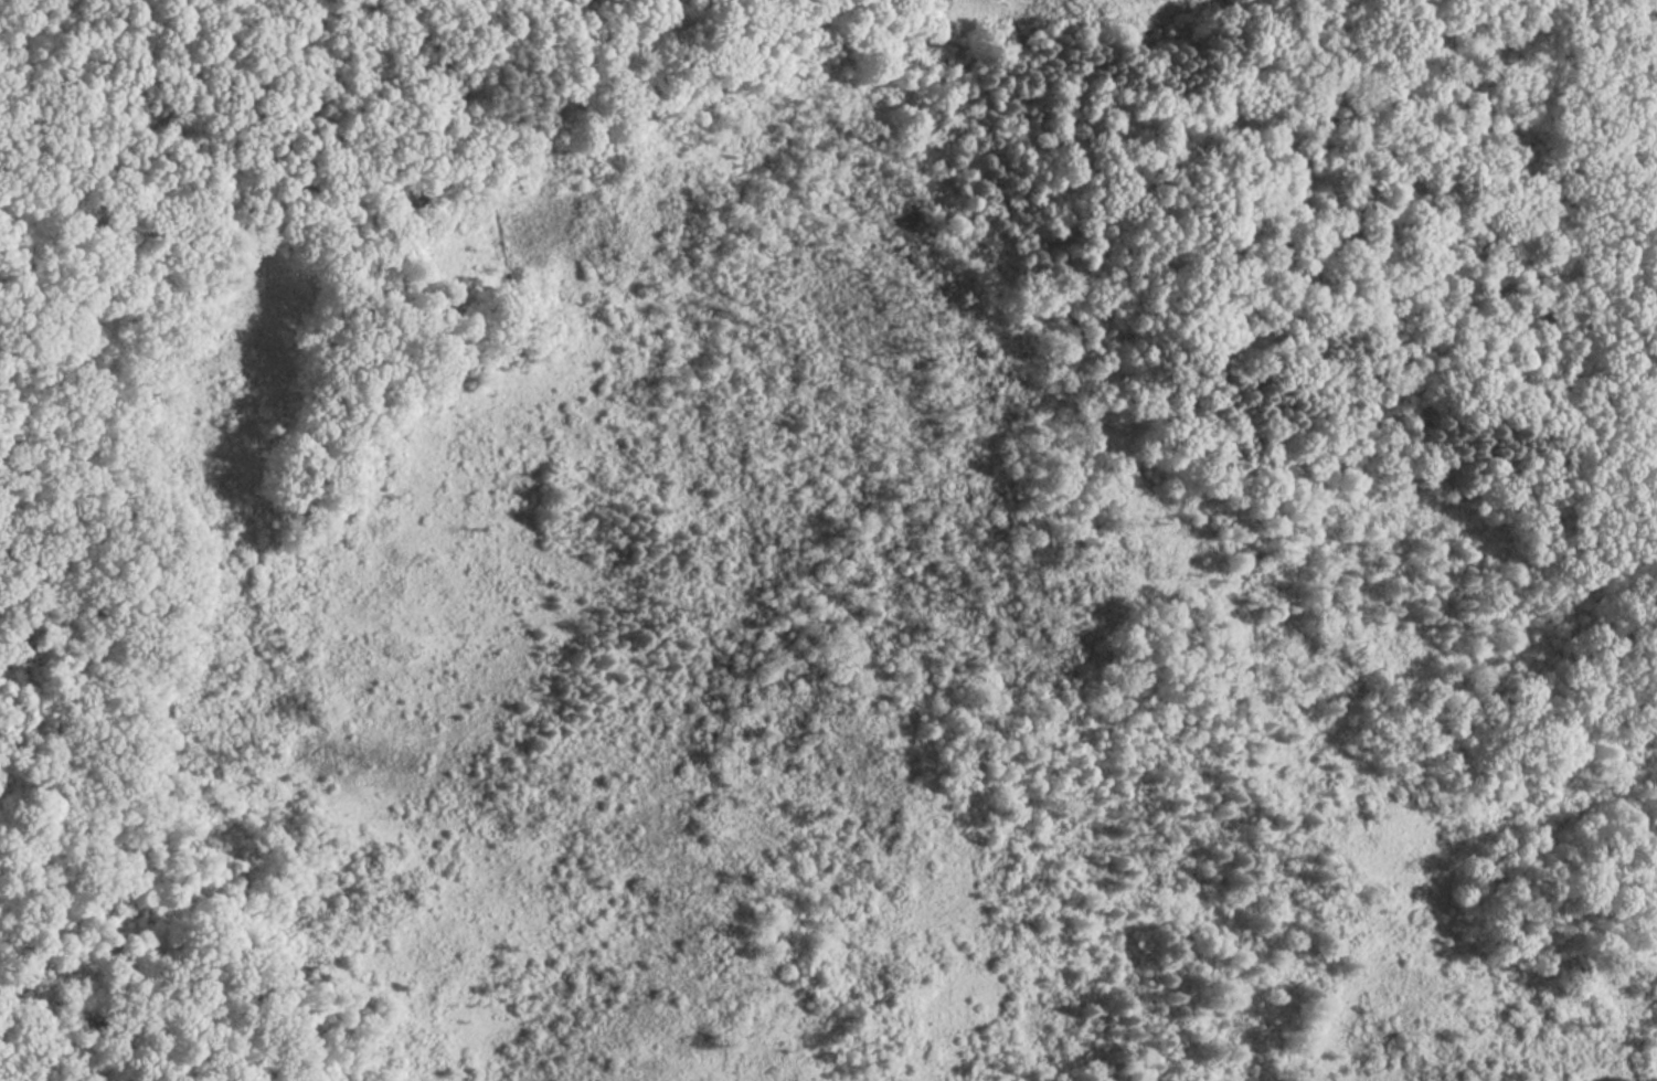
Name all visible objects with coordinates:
road: (591, 74)
road: (263, 190)
road: (502, 243)
park: (826, 541)

